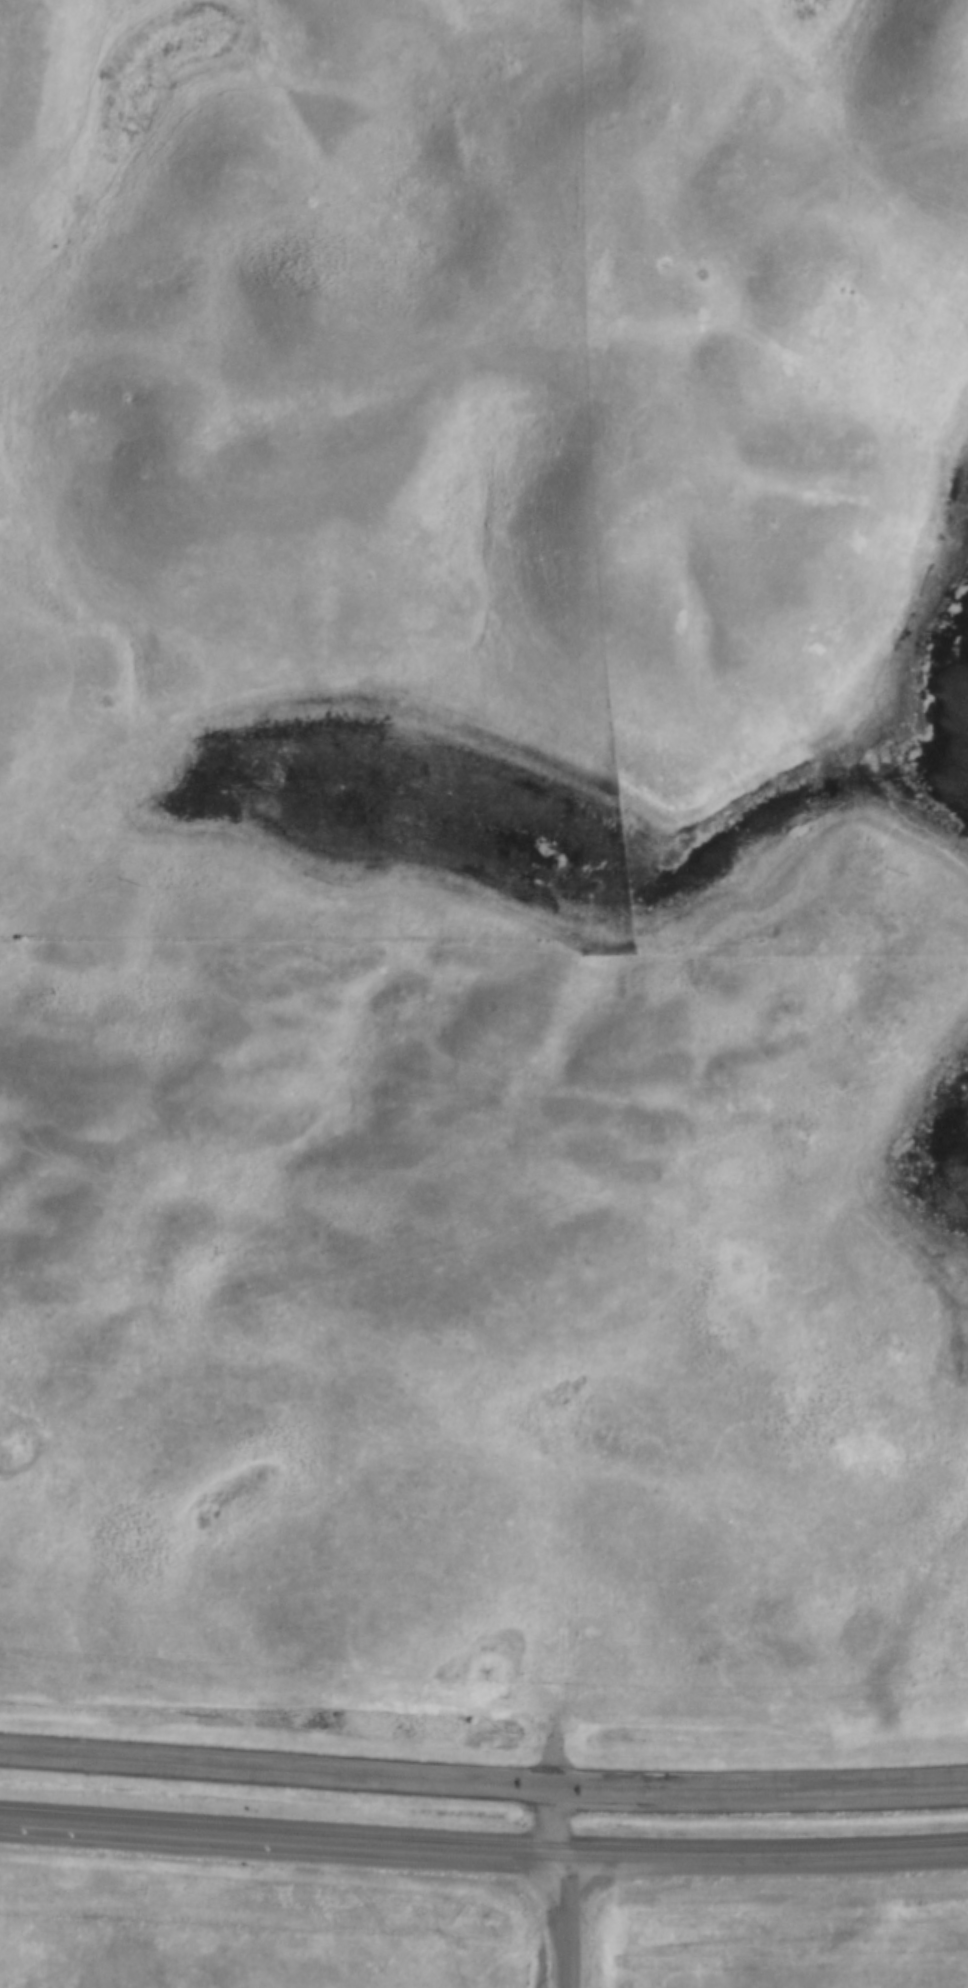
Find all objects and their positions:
road: (483, 1783)
road: (550, 1820)
road: (483, 1849)
road: (551, 1920)

